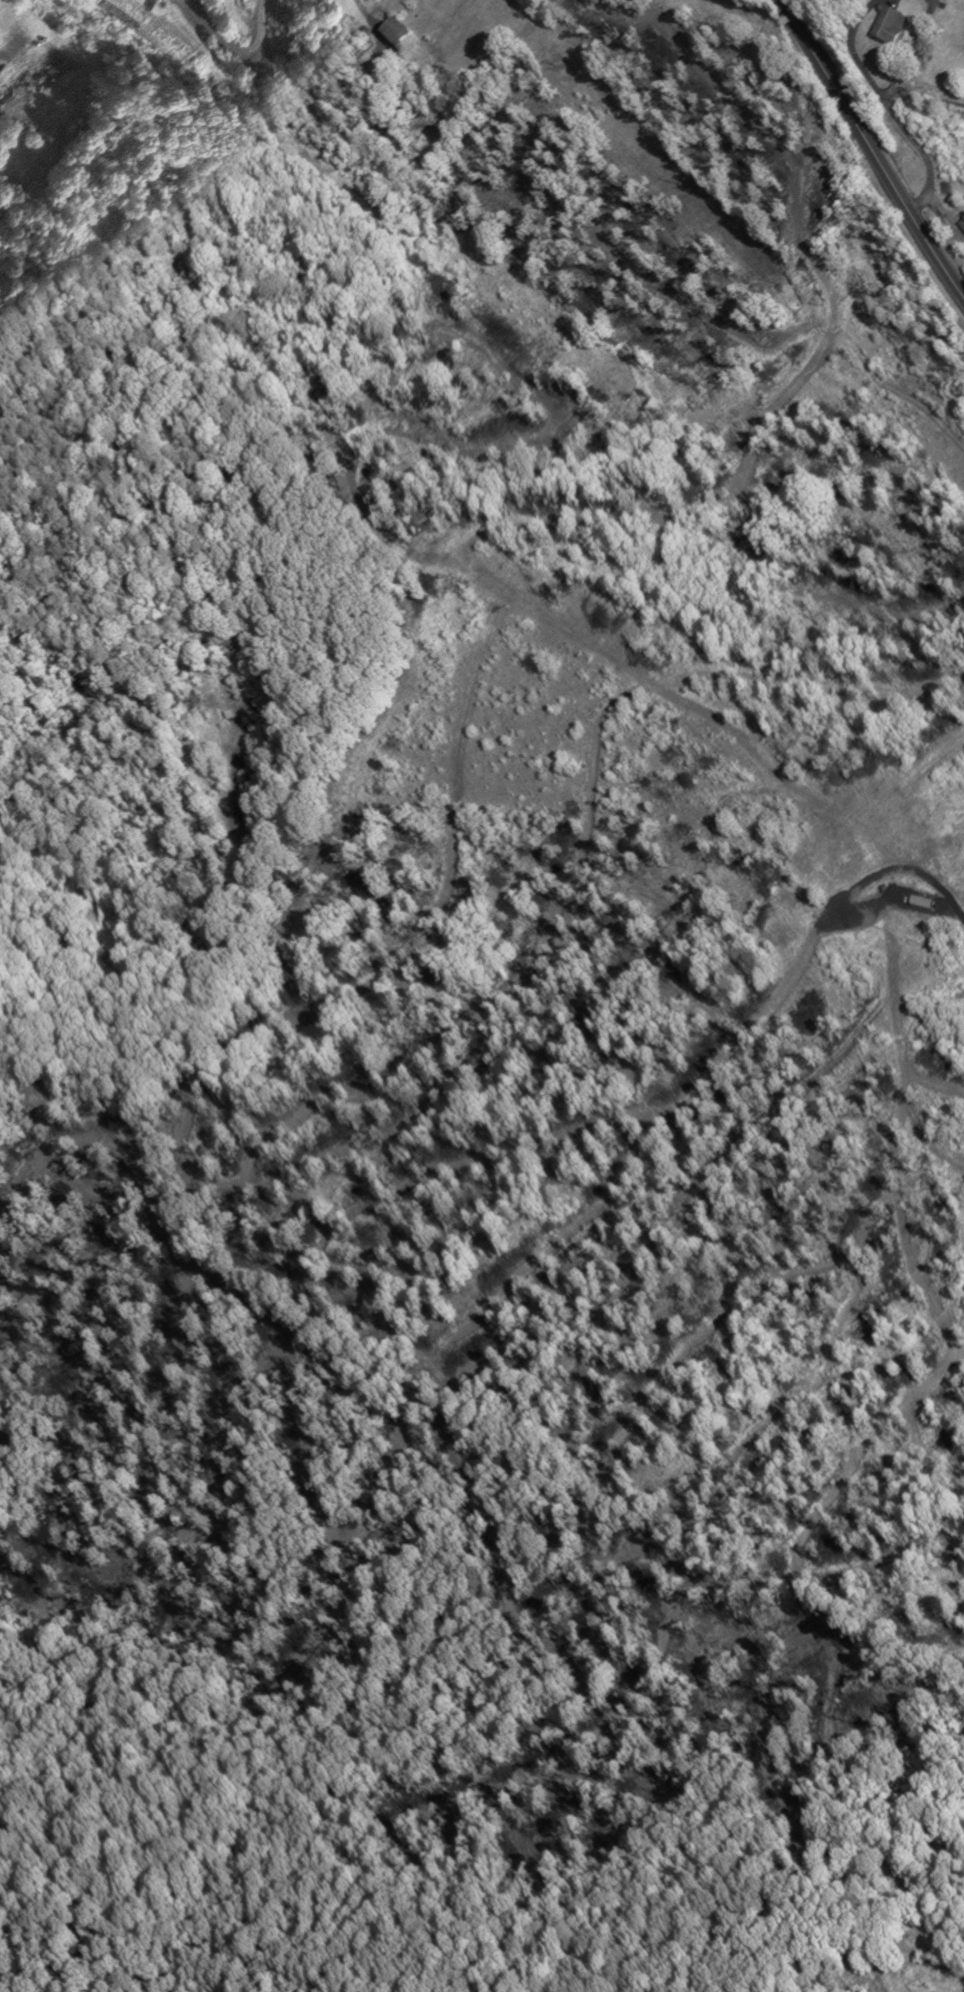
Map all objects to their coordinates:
road: (907, 45)
road: (235, 46)
road: (850, 53)
road: (918, 93)
road: (870, 150)
road: (923, 155)

